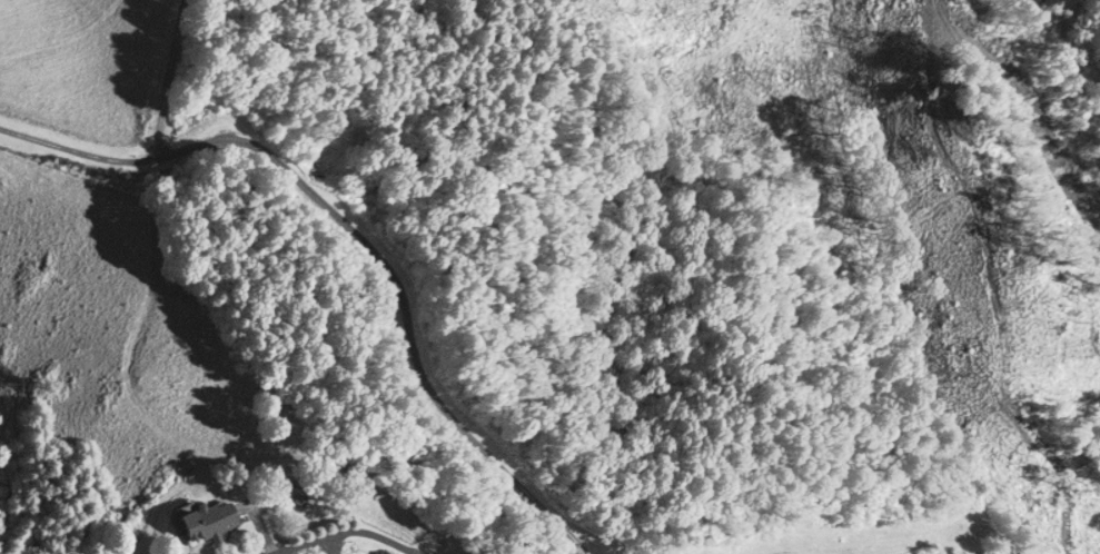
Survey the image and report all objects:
road: (174, 78)
road: (355, 237)
building: (202, 520)
road: (344, 527)

